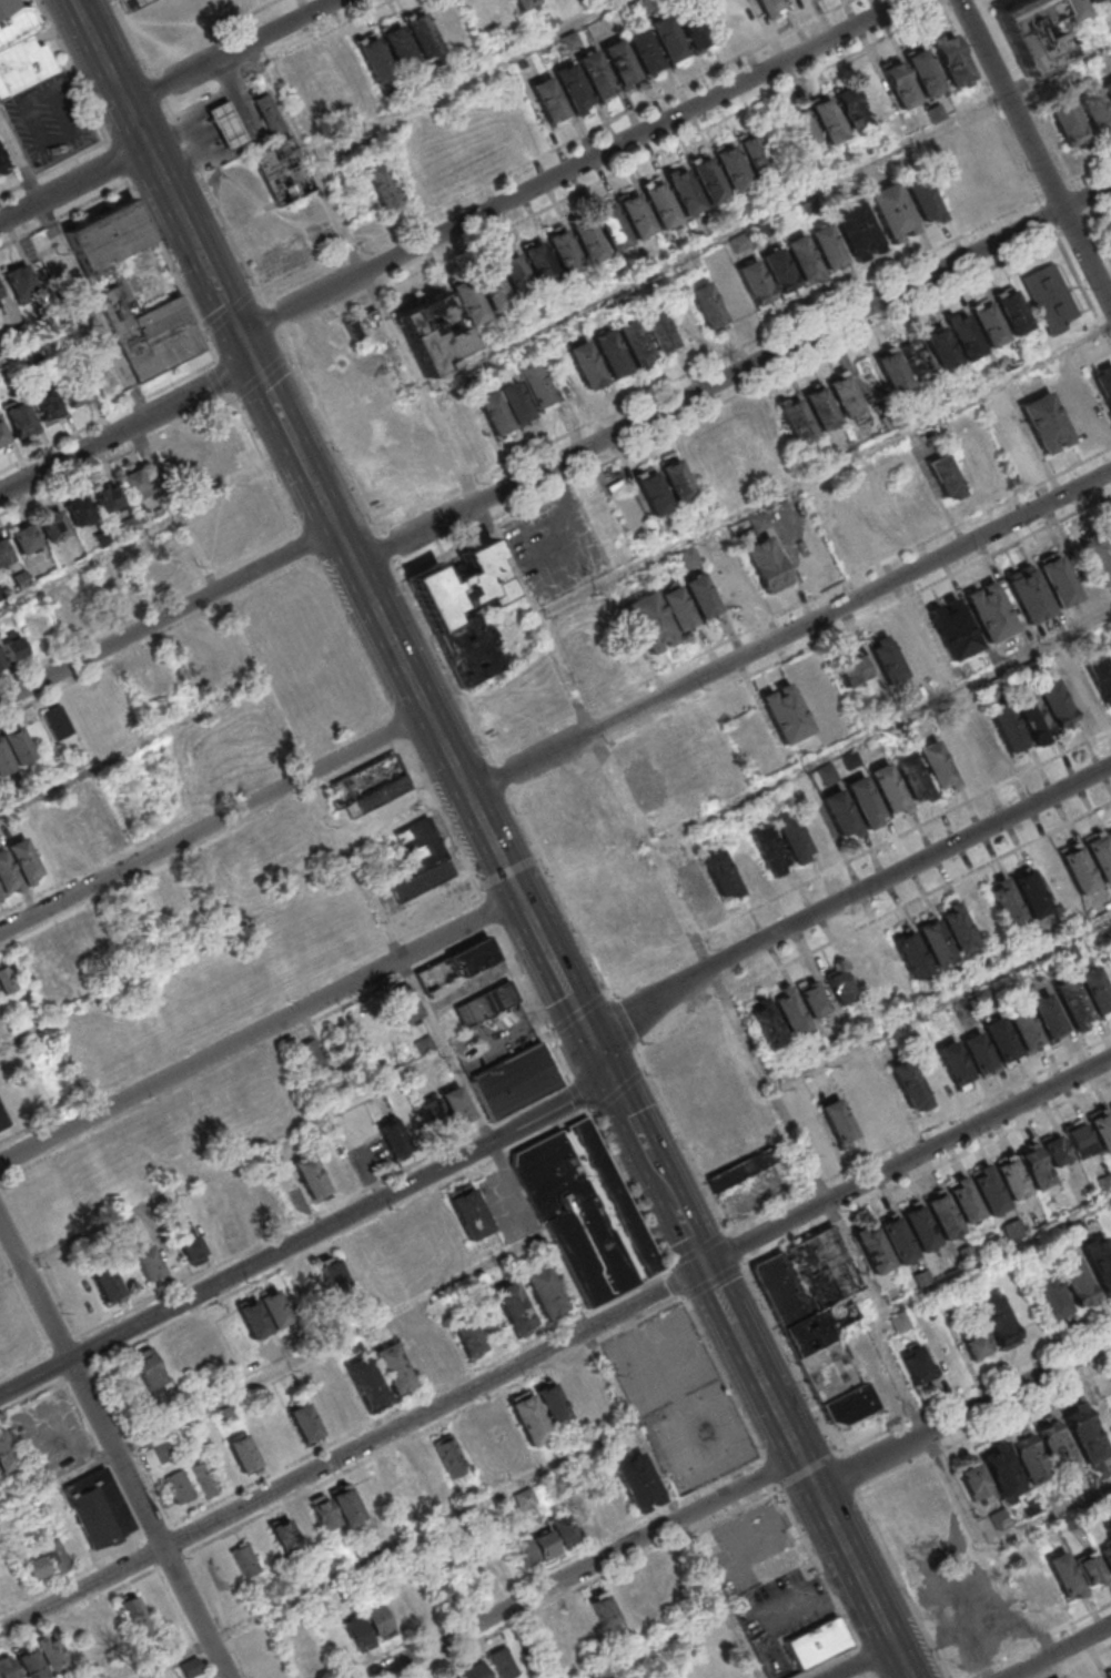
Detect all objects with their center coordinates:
building: (1092, 1)
building: (525, 4)
road: (943, 4)
road: (955, 4)
road: (257, 6)
building: (770, 8)
building: (1072, 9)
building: (496, 10)
road: (239, 14)
building: (166, 19)
road: (327, 30)
building: (694, 31)
building: (1031, 32)
road: (186, 36)
building: (423, 37)
road: (133, 38)
building: (668, 40)
building: (400, 49)
building: (21, 51)
road: (98, 51)
road: (225, 51)
building: (645, 54)
building: (374, 60)
building: (951, 61)
building: (620, 64)
road: (263, 65)
building: (925, 74)
building: (596, 75)
road: (705, 75)
road: (464, 77)
building: (325, 82)
building: (901, 87)
building: (573, 88)
road: (1029, 90)
building: (1107, 91)
road: (214, 93)
building: (549, 102)
building: (270, 115)
building: (829, 122)
building: (228, 125)
building: (1068, 125)
building: (804, 129)
road: (1036, 150)
road: (660, 152)
building: (757, 156)
building: (2, 164)
road: (54, 168)
road: (576, 168)
building: (734, 170)
building: (282, 171)
road: (1092, 172)
building: (709, 182)
building: (380, 183)
road: (72, 185)
building: (685, 193)
building: (925, 200)
building: (661, 208)
building: (893, 213)
road: (1101, 213)
road: (766, 215)
building: (636, 216)
road: (65, 218)
building: (612, 229)
building: (857, 230)
road: (1058, 236)
road: (1101, 237)
building: (588, 242)
building: (828, 247)
road: (354, 251)
building: (565, 253)
building: (805, 261)
road: (169, 263)
building: (539, 263)
road: (74, 270)
building: (516, 275)
building: (781, 275)
building: (20, 281)
building: (757, 286)
building: (492, 287)
road: (1083, 290)
building: (117, 291)
road: (849, 294)
building: (0, 295)
building: (1049, 296)
building: (467, 301)
building: (708, 309)
building: (1011, 311)
building: (988, 323)
building: (431, 333)
building: (21, 335)
building: (661, 335)
building: (963, 335)
road: (49, 341)
building: (636, 345)
building: (940, 347)
building: (2, 350)
building: (610, 354)
building: (916, 358)
building: (37, 364)
building: (586, 366)
building: (891, 371)
road: (733, 376)
building: (9, 377)
building: (1103, 383)
building: (536, 387)
building: (77, 393)
building: (844, 397)
road: (726, 402)
building: (46, 405)
building: (344, 407)
building: (504, 408)
building: (820, 408)
road: (108, 416)
building: (796, 421)
building: (20, 422)
building: (468, 425)
building: (1046, 425)
road: (128, 428)
building: (2, 437)
road: (117, 458)
road: (822, 472)
building: (945, 477)
building: (133, 484)
building: (664, 486)
building: (107, 498)
building: (79, 512)
building: (131, 523)
building: (759, 523)
building: (840, 525)
building: (52, 526)
building: (24, 539)
road: (307, 542)
building: (4, 550)
building: (1099, 559)
road: (89, 562)
road: (354, 565)
building: (767, 567)
building: (149, 575)
building: (728, 580)
building: (1058, 584)
building: (700, 597)
building: (1029, 599)
road: (220, 600)
building: (70, 611)
road: (168, 614)
building: (440, 614)
building: (989, 614)
building: (659, 619)
building: (952, 630)
road: (789, 633)
building: (13, 647)
building: (905, 651)
road: (442, 657)
building: (2, 661)
building: (851, 670)
building: (1101, 679)
building: (1080, 696)
building: (1056, 706)
building: (787, 716)
building: (1031, 718)
building: (57, 721)
road: (400, 725)
road: (880, 730)
building: (1008, 731)
building: (983, 741)
building: (18, 745)
road: (130, 747)
building: (713, 749)
building: (960, 754)
building: (4, 761)
building: (936, 767)
building: (911, 779)
building: (644, 785)
building: (888, 790)
building: (375, 796)
building: (863, 803)
building: (842, 817)
building: (105, 819)
road: (213, 822)
building: (816, 827)
building: (1110, 836)
building: (794, 841)
building: (418, 845)
building: (568, 851)
building: (769, 853)
road: (858, 856)
building: (1100, 859)
building: (22, 860)
building: (210, 870)
building: (1078, 872)
building: (7, 875)
building: (720, 876)
building: (422, 879)
building: (695, 886)
building: (170, 896)
road: (847, 896)
building: (0, 897)
building: (1030, 898)
road: (487, 902)
building: (1006, 909)
road: (871, 920)
building: (958, 932)
building: (87, 936)
building: (933, 940)
building: (909, 953)
building: (46, 958)
road: (179, 958)
building: (461, 966)
road: (714, 967)
building: (860, 969)
building: (8, 978)
building: (840, 988)
building: (1094, 992)
building: (22, 1001)
building: (815, 1002)
road: (941, 1002)
building: (485, 1003)
building: (403, 1004)
building: (1072, 1004)
building: (792, 1017)
building: (1048, 1019)
building: (765, 1024)
traffic signals: (585, 1029)
road: (259, 1030)
building: (1023, 1031)
building: (1000, 1043)
building: (424, 1045)
road: (597, 1053)
building: (310, 1055)
building: (978, 1057)
building: (955, 1067)
traffic signals: (610, 1079)
building: (514, 1081)
building: (909, 1088)
building: (1110, 1110)
building: (444, 1111)
building: (3, 1123)
building: (837, 1124)
building: (1101, 1132)
road: (919, 1134)
building: (393, 1136)
building: (1080, 1142)
building: (1054, 1152)
road: (908, 1162)
road: (223, 1165)
building: (320, 1172)
building: (1036, 1172)
road: (657, 1173)
road: (928, 1173)
building: (1011, 1182)
building: (989, 1196)
building: (270, 1200)
building: (964, 1204)
building: (249, 1212)
building: (469, 1213)
building: (587, 1213)
building: (943, 1221)
road: (534, 1225)
building: (920, 1233)
road: (305, 1236)
building: (883, 1244)
building: (191, 1249)
road: (737, 1249)
building: (148, 1263)
building: (1099, 1265)
building: (332, 1273)
building: (807, 1276)
building: (921, 1278)
building: (1075, 1283)
building: (109, 1284)
building: (544, 1291)
building: (1050, 1298)
building: (514, 1308)
building: (263, 1313)
building: (998, 1321)
building: (900, 1323)
building: (467, 1337)
road: (330, 1346)
building: (976, 1346)
building: (917, 1366)
building: (149, 1367)
building: (392, 1367)
building: (365, 1381)
building: (835, 1383)
road: (1020, 1386)
parking lot: (681, 1401)
building: (552, 1405)
building: (225, 1415)
building: (528, 1418)
building: (304, 1422)
building: (1085, 1437)
road: (113, 1447)
building: (1054, 1447)
road: (353, 1449)
building: (4, 1453)
building: (242, 1454)
building: (158, 1455)
building: (448, 1455)
building: (1028, 1459)
road: (873, 1462)
road: (847, 1468)
road: (810, 1473)
building: (1002, 1476)
building: (204, 1478)
building: (637, 1483)
road: (59, 1484)
building: (974, 1484)
building: (387, 1485)
building: (178, 1487)
building: (524, 1499)
building: (335, 1507)
building: (99, 1512)
building: (584, 1519)
building: (284, 1536)
building: (544, 1543)
road: (990, 1546)
road: (391, 1551)
building: (1107, 1557)
building: (244, 1559)
building: (44, 1561)
building: (780, 1565)
road: (586, 1566)
building: (1091, 1570)
building: (1064, 1577)
building: (1040, 1589)
building: (441, 1591)
road: (1027, 1598)
building: (603, 1609)
building: (134, 1616)
building: (377, 1623)
road: (1038, 1641)
building: (817, 1642)
road: (666, 1645)
building: (50, 1652)
road: (1060, 1652)
building: (295, 1655)
road: (865, 1661)
building: (502, 1662)
road: (1080, 1662)
building: (30, 1664)
road: (1061, 1666)
building: (8, 1667)
building: (190, 1667)
building: (475, 1670)
building: (1110, 1676)
building: (453, 1677)
building: (1056, 1677)

